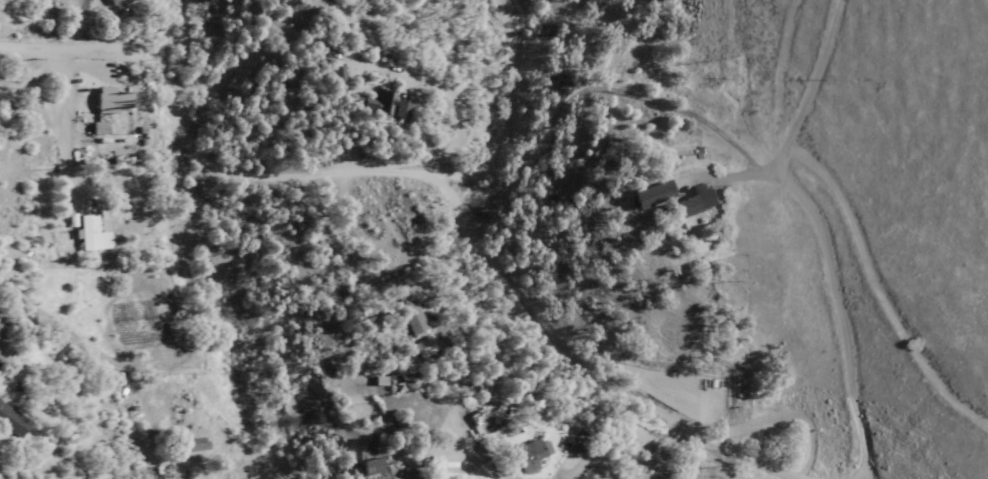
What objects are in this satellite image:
building: (113, 2)
road: (140, 41)
building: (335, 72)
building: (109, 100)
building: (379, 104)
road: (69, 118)
building: (649, 195)
building: (697, 201)
building: (96, 233)
building: (412, 318)
building: (426, 348)
building: (14, 420)
building: (193, 445)
building: (530, 454)
road: (801, 474)

